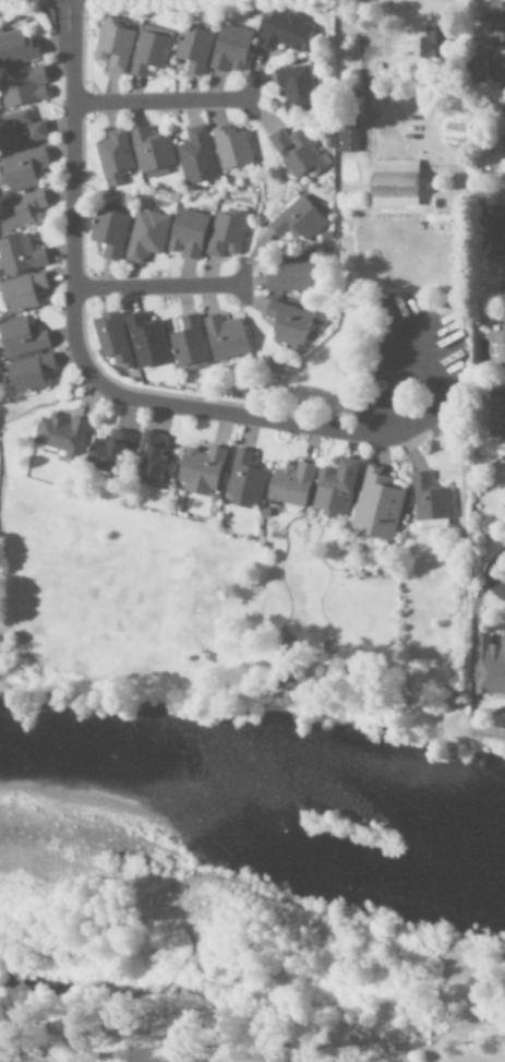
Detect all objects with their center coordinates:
building: (495, 20)
building: (284, 32)
building: (112, 45)
building: (15, 48)
building: (193, 48)
building: (230, 49)
building: (149, 51)
building: (497, 71)
building: (22, 86)
building: (296, 87)
road: (164, 103)
building: (501, 122)
building: (20, 130)
building: (347, 138)
building: (231, 146)
building: (152, 153)
building: (297, 153)
building: (196, 155)
building: (113, 157)
building: (501, 166)
building: (21, 169)
building: (393, 183)
building: (21, 212)
building: (298, 219)
building: (498, 230)
building: (109, 231)
building: (187, 234)
building: (226, 234)
building: (146, 235)
building: (20, 254)
building: (290, 274)
road: (158, 287)
building: (22, 293)
building: (287, 323)
building: (21, 337)
building: (225, 337)
building: (110, 338)
road: (74, 341)
building: (146, 342)
building: (188, 342)
building: (501, 349)
building: (27, 372)
building: (495, 414)
building: (61, 435)
building: (109, 450)
building: (154, 457)
building: (200, 470)
building: (244, 479)
building: (290, 485)
building: (335, 488)
building: (429, 499)
building: (376, 506)
building: (489, 667)
river: (260, 772)

